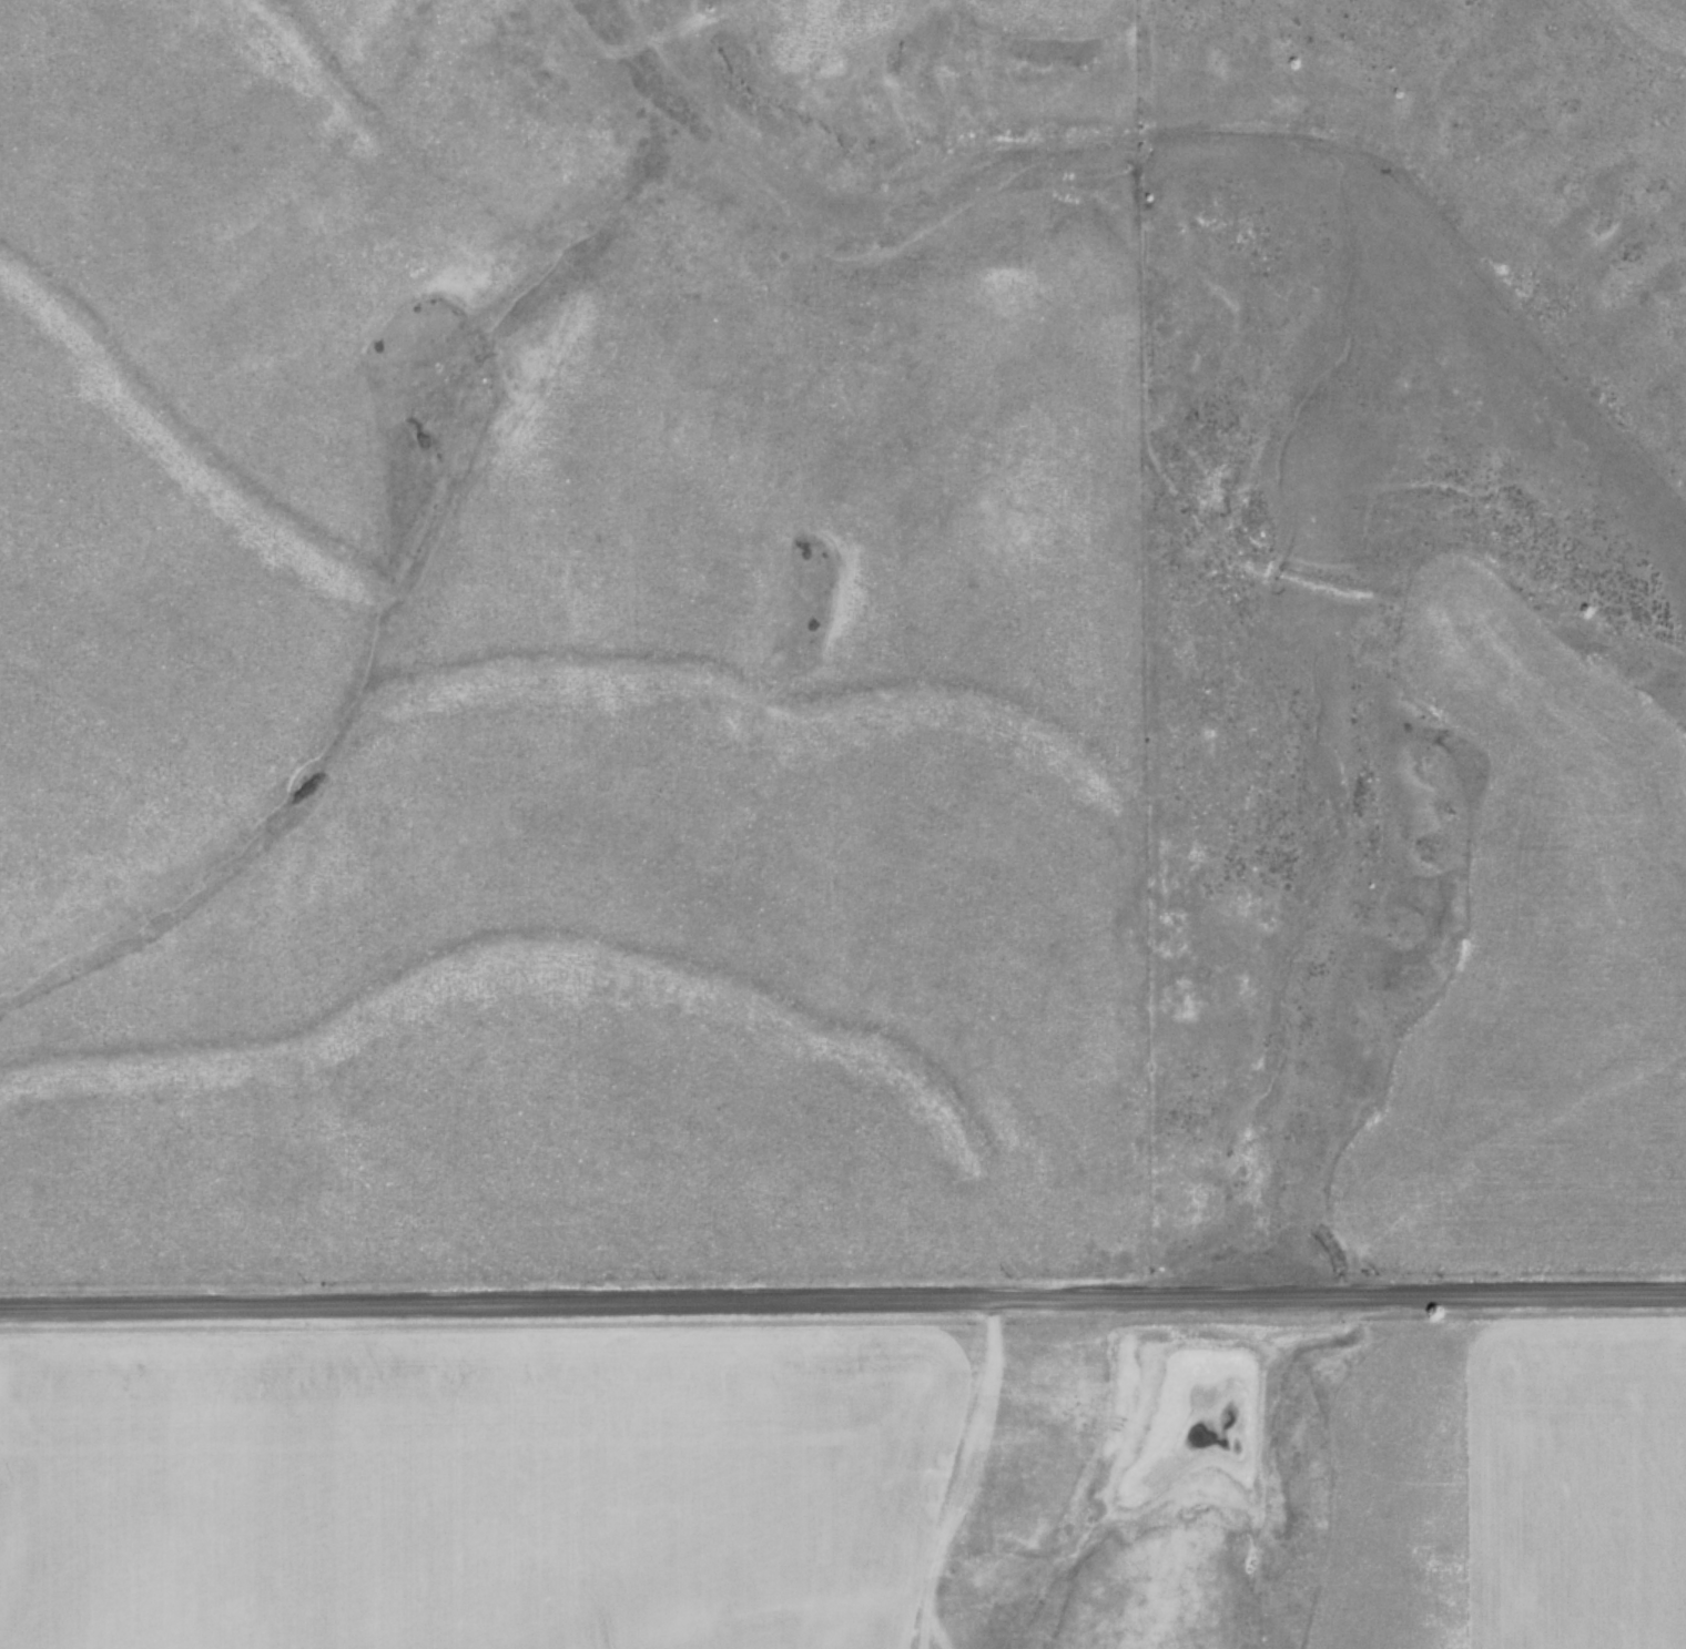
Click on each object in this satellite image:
road: (842, 1302)
crop: (849, 1498)

